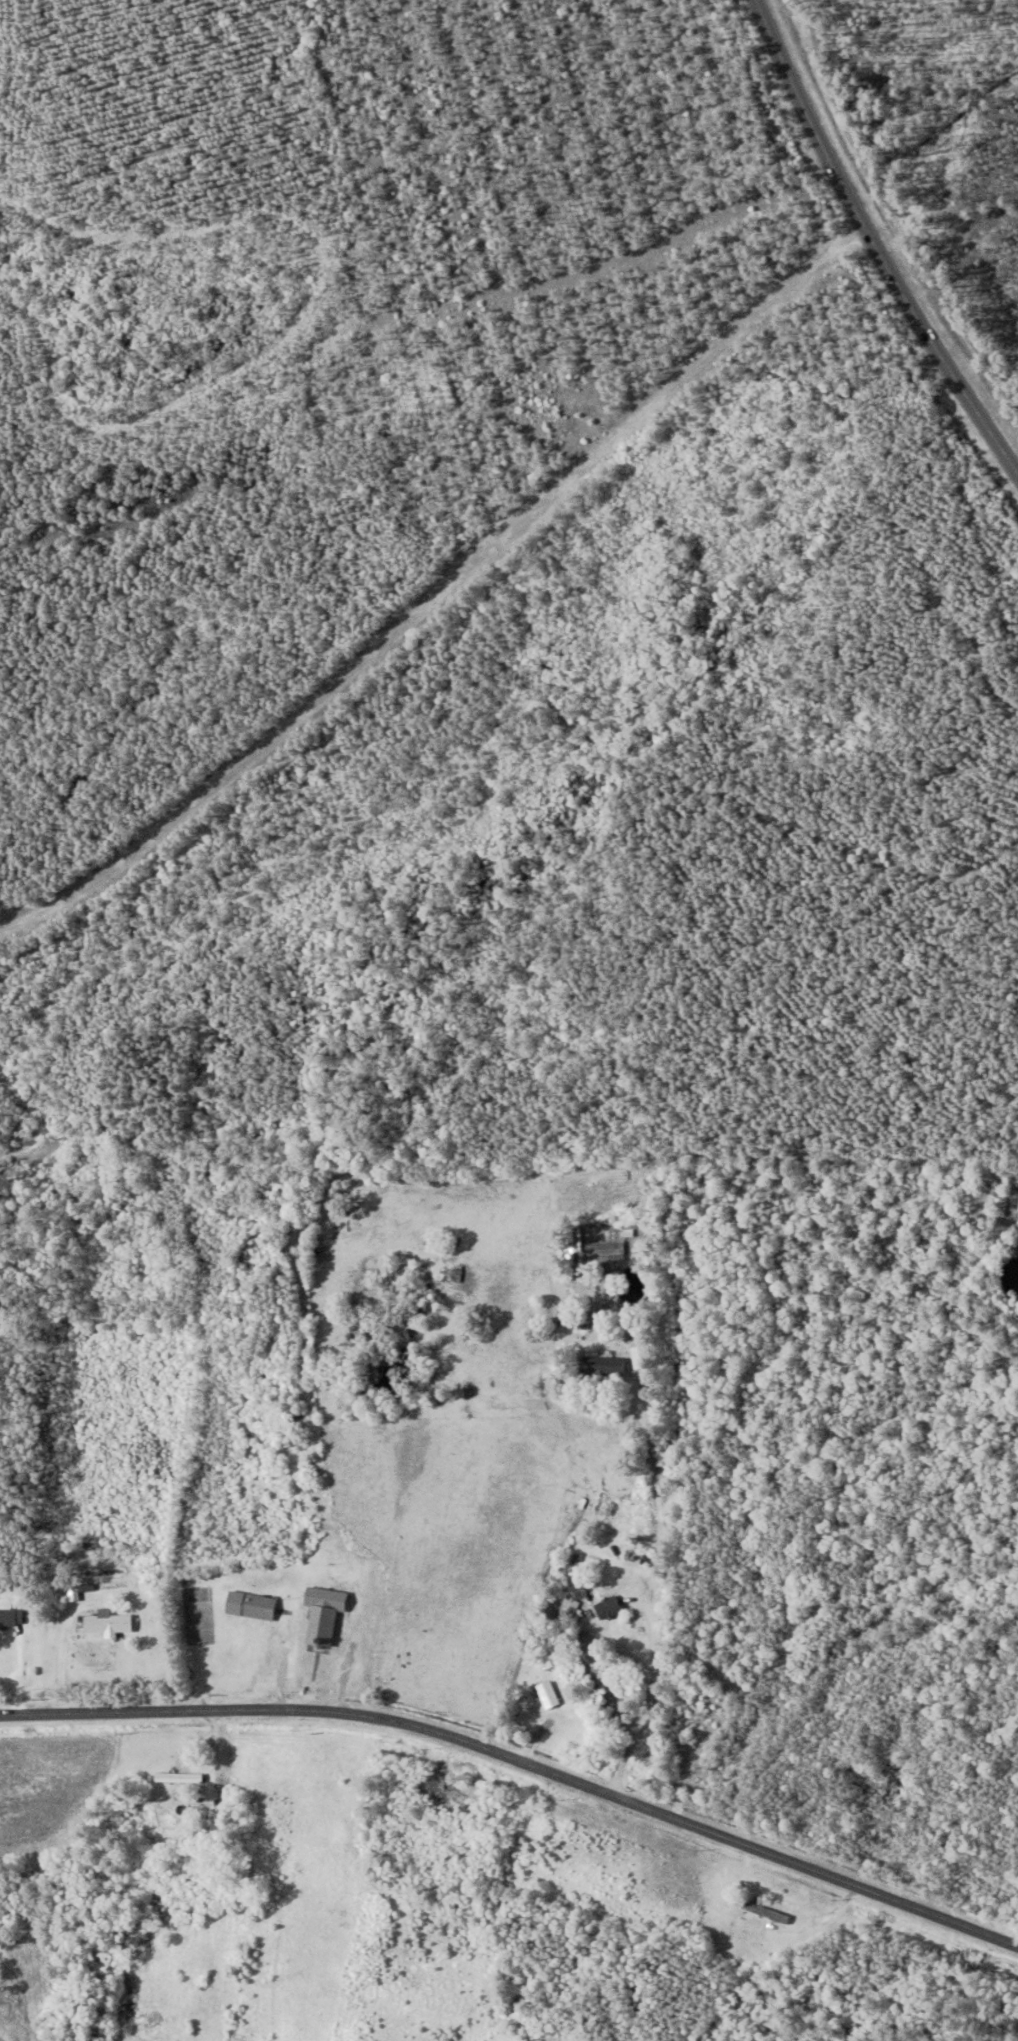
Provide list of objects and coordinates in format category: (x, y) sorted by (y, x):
road: (874, 243)
building: (611, 1362)
road: (651, 1590)
building: (252, 1606)
building: (609, 1609)
building: (325, 1615)
building: (12, 1618)
building: (108, 1623)
building: (549, 1695)
road: (521, 1756)
building: (161, 1827)
building: (766, 1911)

